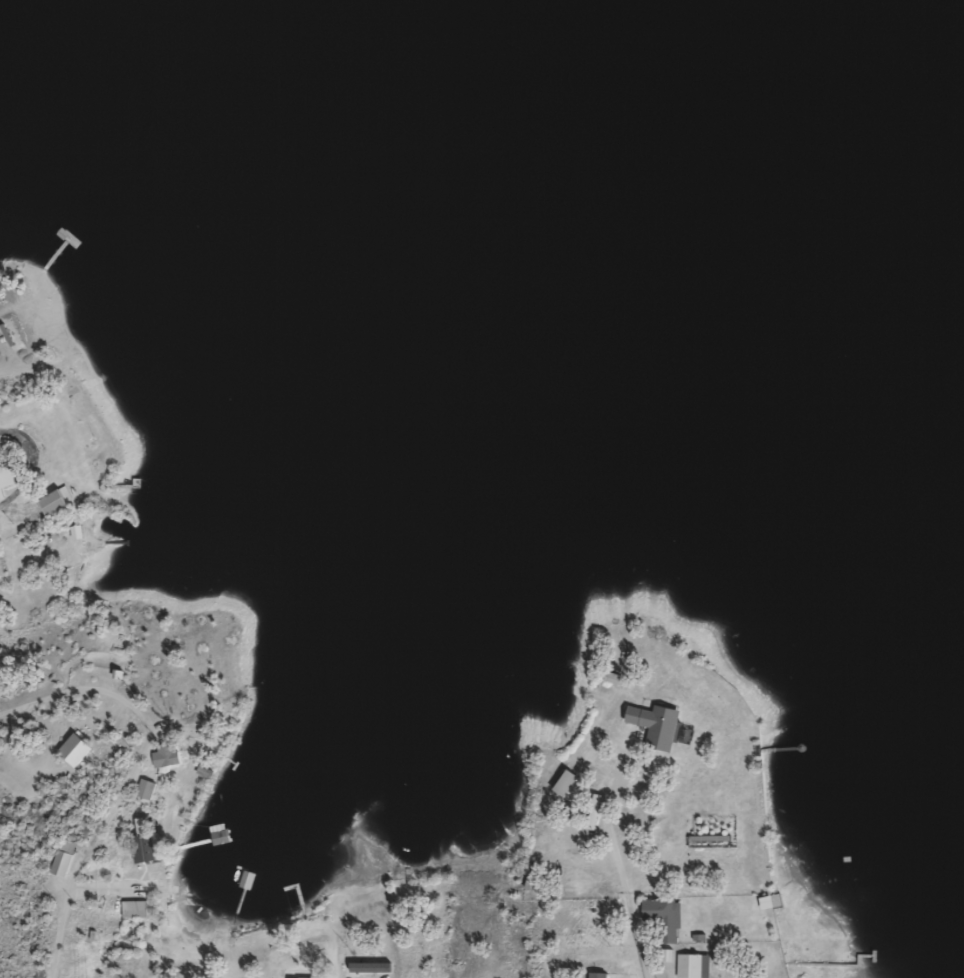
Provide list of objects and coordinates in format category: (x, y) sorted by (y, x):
river: (788, 122)
building: (6, 477)
building: (53, 503)
building: (0, 575)
building: (653, 726)
building: (78, 749)
building: (164, 756)
building: (237, 766)
road: (129, 776)
building: (566, 787)
building: (146, 789)
building: (245, 819)
building: (143, 842)
building: (709, 842)
building: (58, 858)
building: (248, 869)
building: (133, 908)
building: (662, 917)
road: (639, 934)
building: (692, 966)
building: (595, 975)

